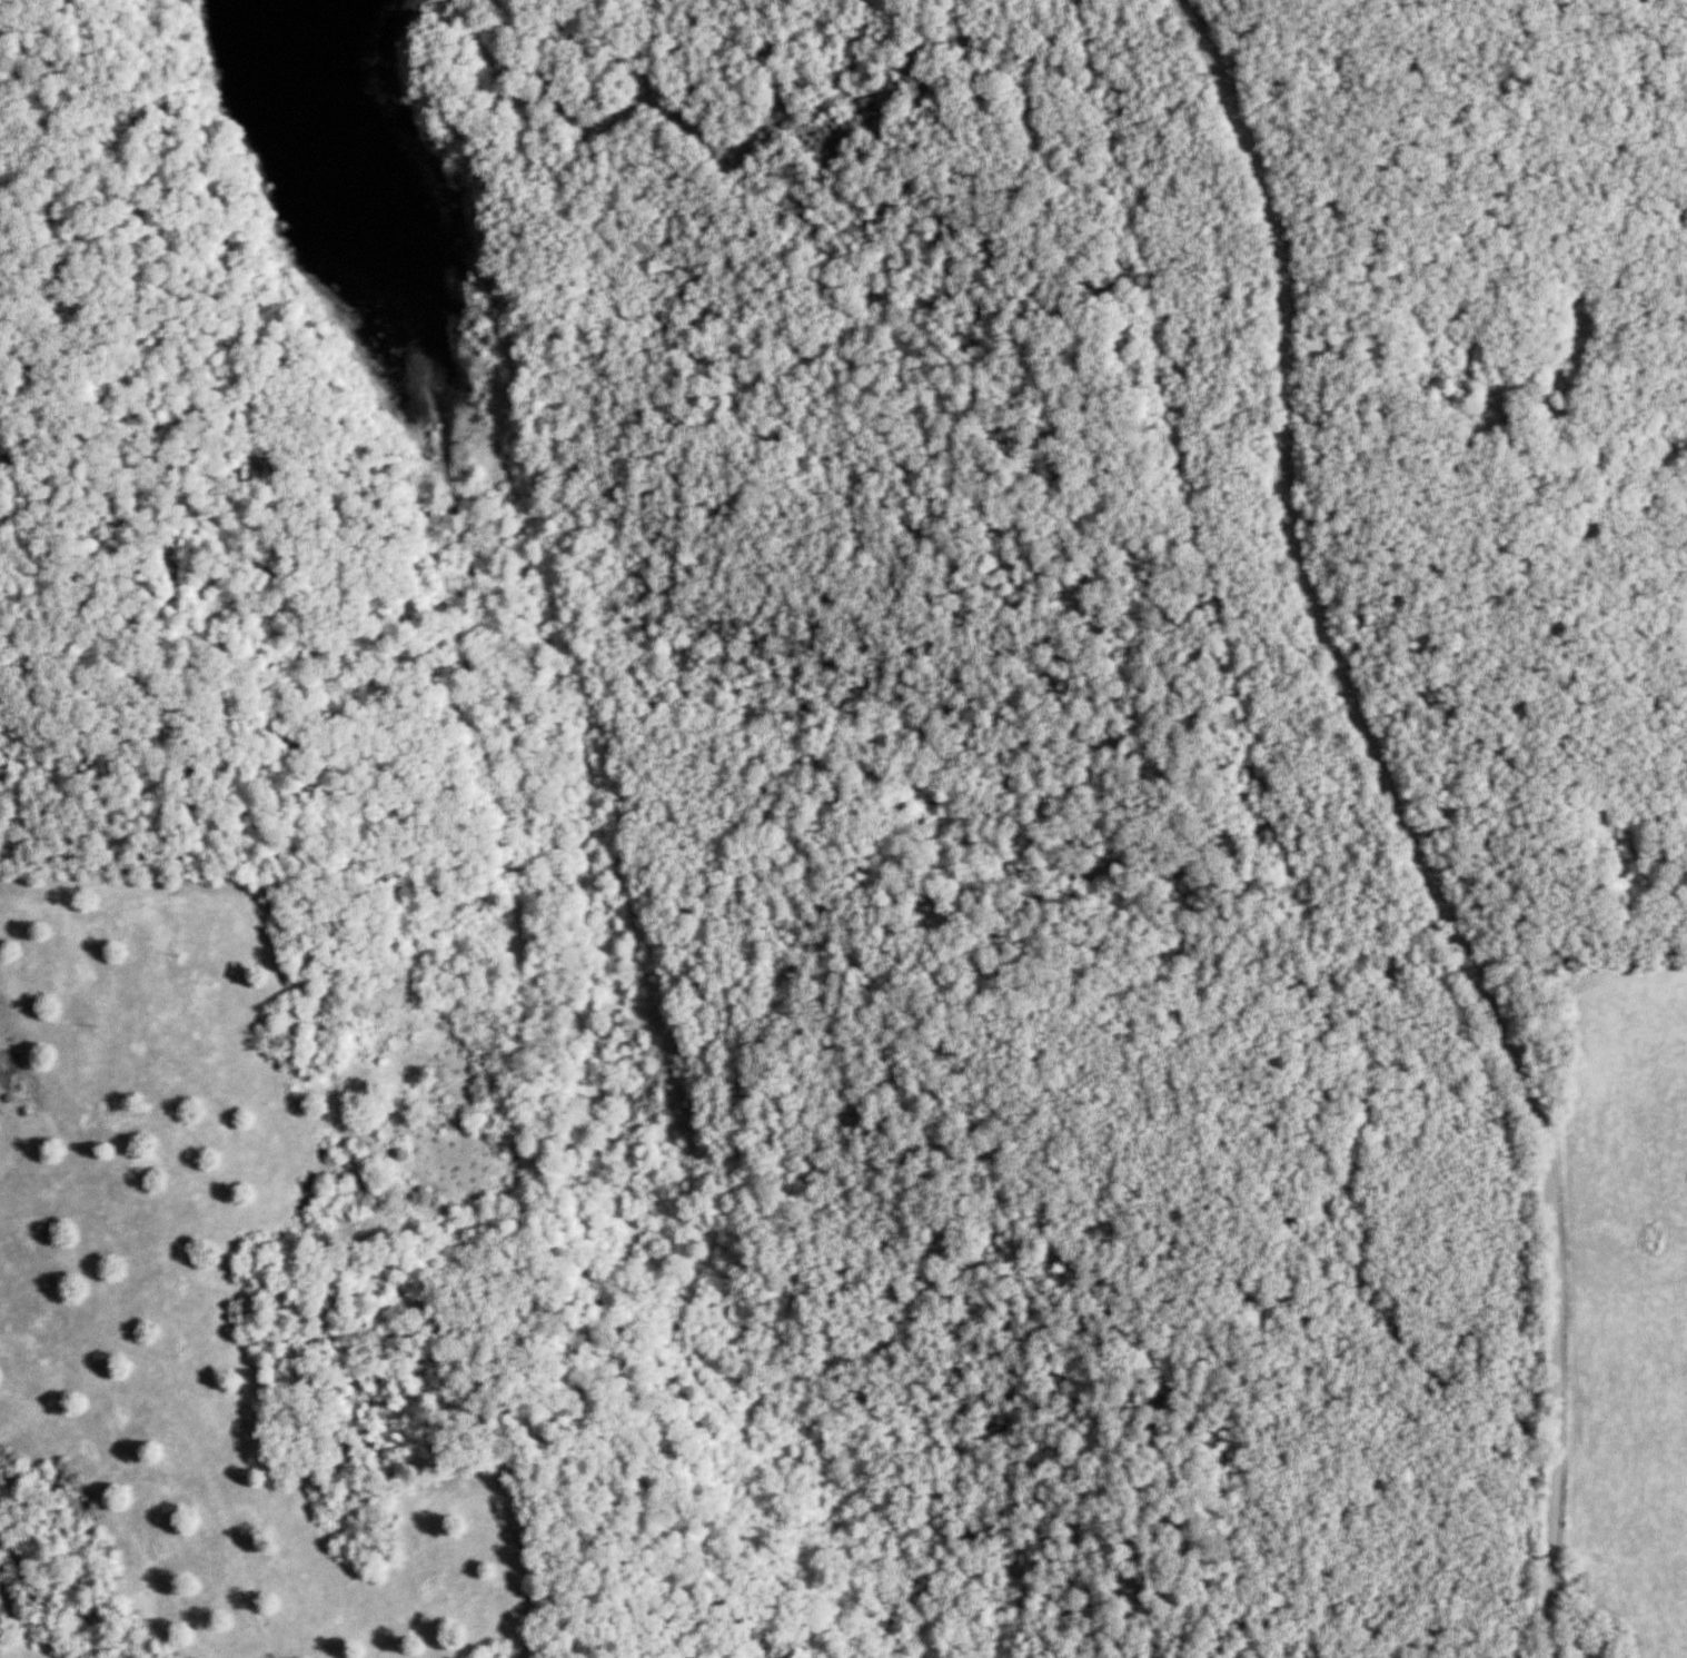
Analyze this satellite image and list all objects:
road: (1407, 820)

